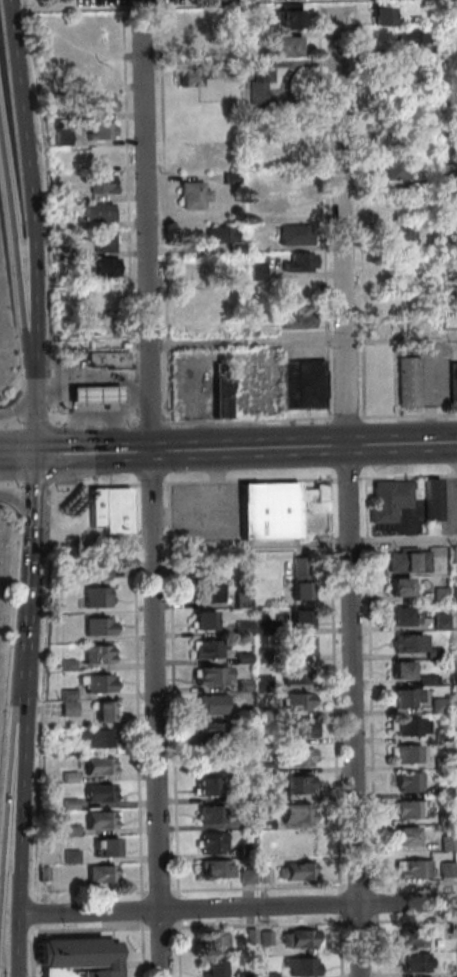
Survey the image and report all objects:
road: (316, 8)
road: (339, 8)
building: (374, 15)
road: (121, 17)
building: (279, 18)
building: (404, 35)
road: (140, 38)
building: (278, 45)
building: (408, 63)
building: (180, 76)
building: (441, 78)
building: (249, 79)
building: (89, 101)
building: (89, 131)
building: (50, 137)
building: (253, 148)
building: (385, 163)
building: (441, 171)
road: (332, 173)
building: (456, 174)
building: (244, 176)
building: (221, 177)
building: (91, 183)
building: (414, 184)
building: (183, 193)
road: (20, 199)
building: (253, 204)
road: (36, 211)
building: (88, 212)
road: (351, 213)
road: (313, 214)
road: (154, 218)
road: (116, 222)
building: (211, 234)
building: (285, 234)
building: (390, 234)
building: (246, 239)
building: (92, 240)
building: (226, 246)
building: (290, 261)
building: (94, 266)
building: (247, 270)
building: (218, 289)
building: (450, 294)
building: (94, 297)
road: (16, 308)
building: (252, 316)
building: (295, 317)
building: (94, 325)
road: (300, 338)
building: (103, 360)
building: (408, 381)
building: (453, 382)
building: (91, 385)
building: (301, 385)
road: (344, 391)
building: (220, 392)
road: (107, 394)
road: (120, 394)
road: (74, 395)
road: (91, 395)
road: (15, 406)
road: (82, 412)
road: (410, 414)
road: (344, 418)
road: (244, 420)
road: (30, 422)
road: (91, 422)
road: (146, 423)
road: (7, 425)
road: (28, 425)
road: (68, 433)
road: (401, 444)
road: (187, 450)
road: (47, 453)
road: (14, 456)
traffic signals: (29, 456)
road: (407, 477)
road: (346, 479)
road: (249, 481)
road: (6, 482)
road: (30, 484)
road: (150, 484)
road: (93, 485)
road: (149, 493)
building: (432, 499)
road: (28, 500)
building: (388, 502)
road: (17, 505)
building: (94, 507)
building: (277, 508)
building: (115, 510)
road: (241, 546)
building: (454, 554)
building: (409, 561)
road: (24, 568)
building: (101, 573)
building: (301, 577)
building: (401, 585)
building: (210, 593)
building: (441, 594)
building: (453, 594)
building: (97, 596)
building: (406, 615)
building: (296, 617)
building: (203, 619)
building: (442, 623)
building: (98, 626)
building: (262, 627)
building: (244, 628)
road: (23, 634)
building: (410, 643)
building: (301, 645)
building: (206, 647)
building: (434, 652)
building: (97, 653)
building: (245, 658)
building: (67, 665)
building: (404, 668)
building: (456, 671)
building: (295, 673)
building: (211, 676)
building: (428, 680)
building: (95, 682)
building: (244, 686)
road: (336, 686)
road: (371, 686)
road: (174, 689)
road: (137, 691)
road: (41, 692)
building: (408, 697)
building: (299, 700)
building: (211, 705)
building: (441, 705)
building: (106, 711)
road: (354, 711)
building: (247, 713)
building: (411, 726)
building: (301, 728)
building: (211, 730)
building: (445, 736)
building: (97, 738)
building: (247, 740)
building: (71, 751)
building: (410, 753)
building: (302, 757)
building: (444, 763)
building: (97, 764)
building: (72, 776)
building: (411, 781)
building: (206, 785)
building: (301, 785)
building: (446, 788)
building: (100, 792)
road: (22, 795)
building: (269, 795)
road: (9, 797)
building: (72, 804)
building: (413, 809)
building: (298, 813)
building: (214, 815)
building: (447, 818)
building: (104, 819)
building: (267, 823)
building: (72, 830)
building: (409, 835)
building: (450, 843)
building: (216, 845)
building: (108, 847)
building: (250, 852)
building: (74, 856)
building: (218, 868)
building: (415, 869)
building: (450, 869)
building: (298, 871)
building: (47, 874)
building: (104, 874)
building: (268, 877)
road: (413, 883)
road: (360, 886)
road: (264, 887)
road: (177, 890)
road: (159, 891)
road: (343, 904)
road: (379, 904)
road: (239, 907)
road: (181, 908)
road: (144, 909)
road: (34, 912)
road: (415, 919)
road: (362, 921)
road: (262, 924)
road: (163, 927)
road: (93, 929)
building: (254, 936)
building: (415, 937)
building: (269, 938)
building: (304, 938)
building: (216, 940)
road: (22, 945)
road: (343, 946)
road: (380, 946)
road: (181, 948)
road: (145, 949)
road: (35, 951)
building: (80, 957)
building: (417, 962)
building: (305, 966)
building: (217, 968)
building: (272, 974)
building: (250, 975)

